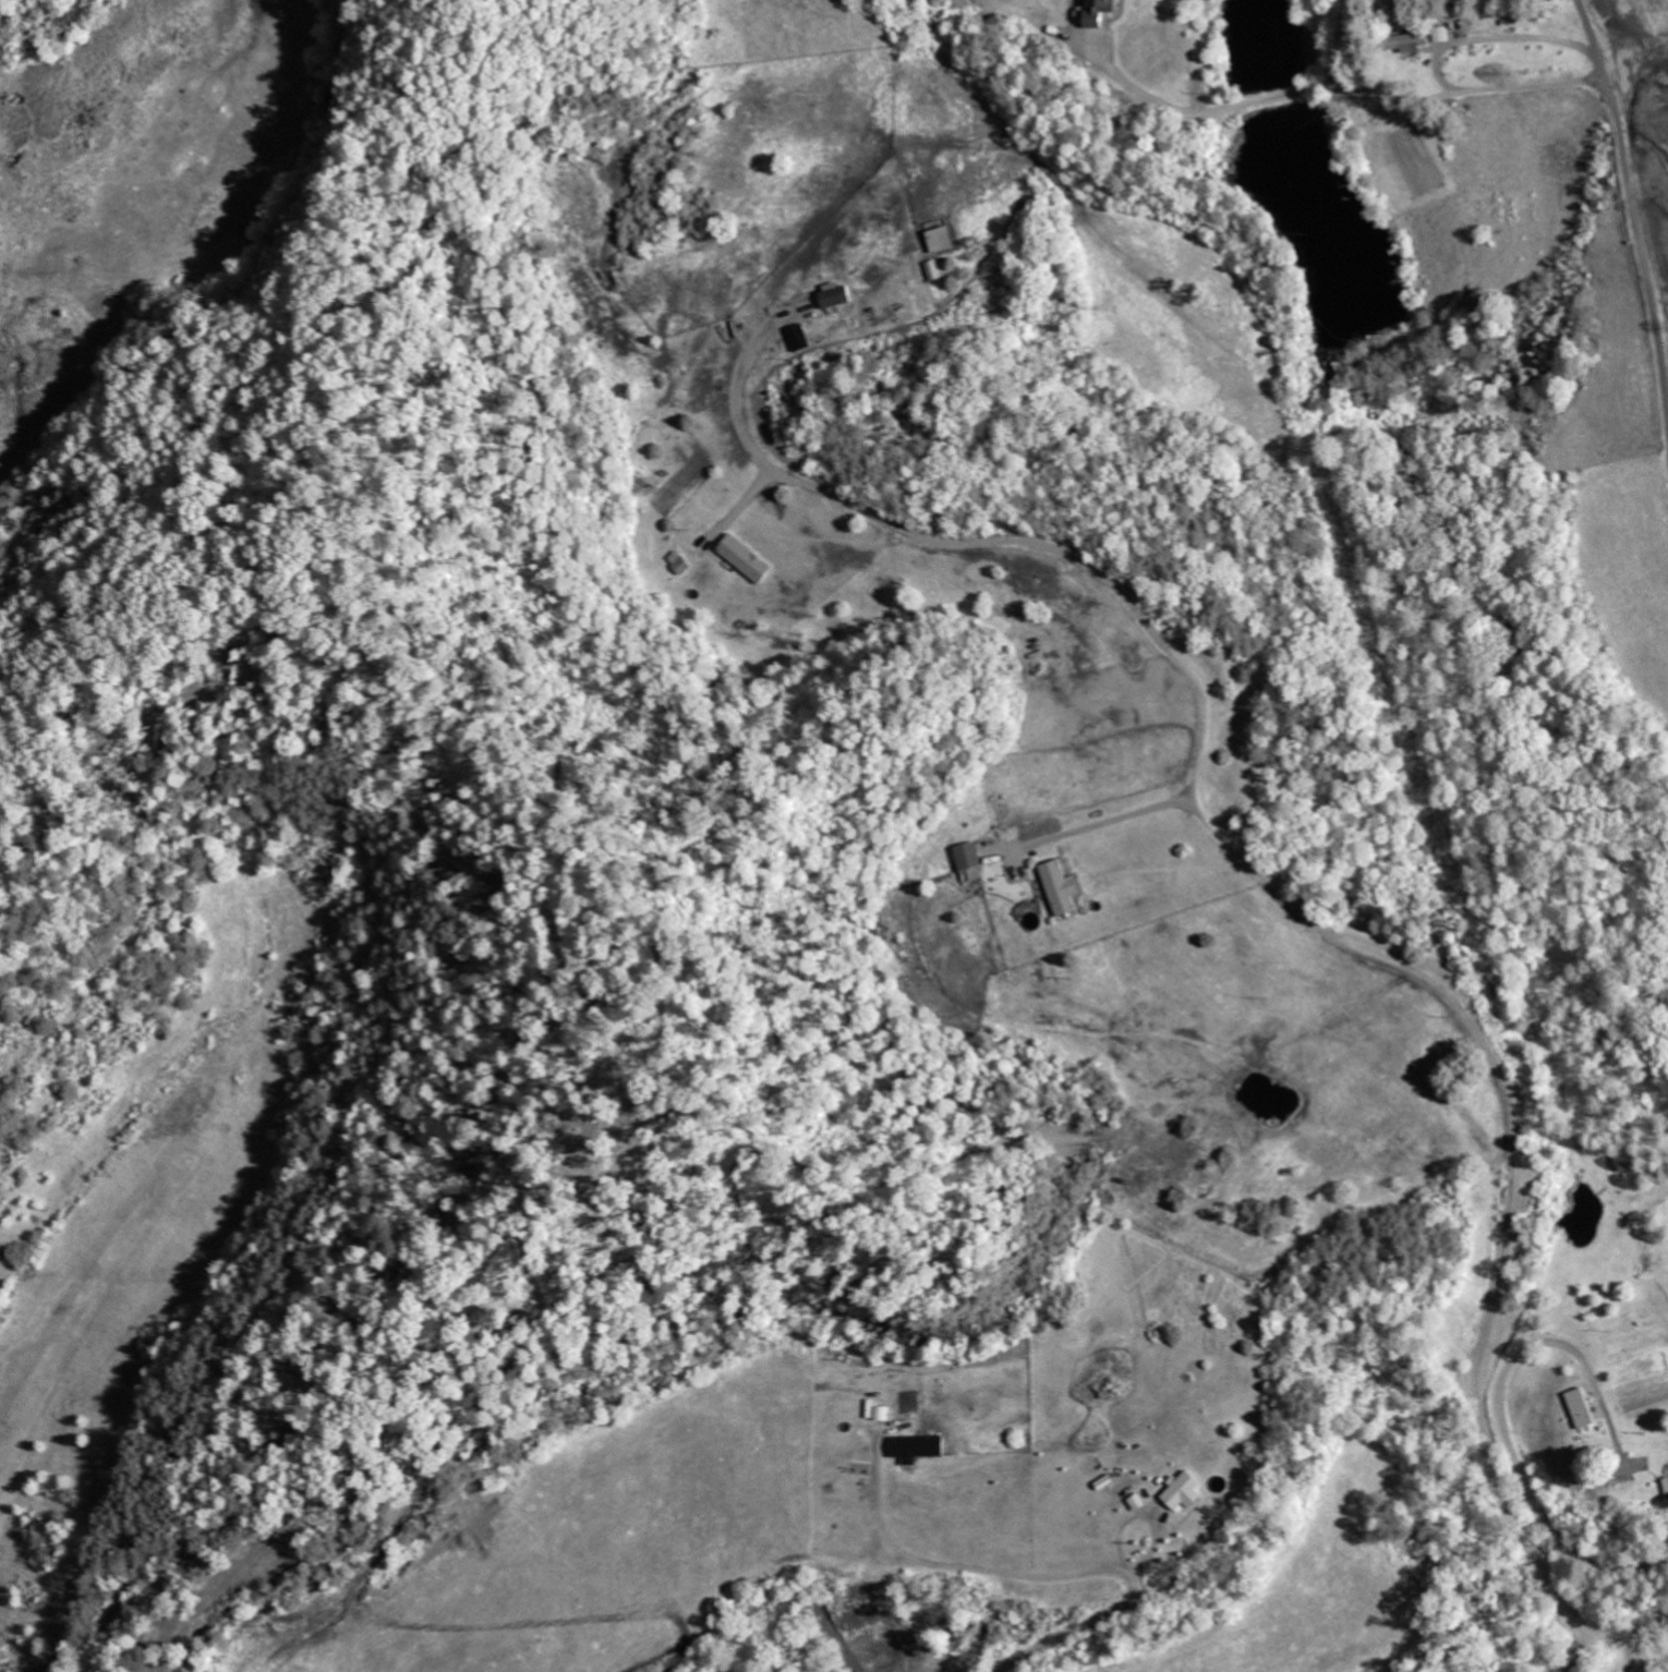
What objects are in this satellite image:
building: (1102, 13)
building: (1414, 43)
road: (1632, 202)
building: (943, 239)
building: (841, 296)
building: (805, 338)
building: (747, 559)
building: (679, 562)
building: (972, 857)
building: (975, 875)
building: (1066, 888)
building: (1585, 1408)
road: (1501, 1413)
building: (921, 1447)
building: (1667, 1480)
building: (1187, 1491)
building: (1143, 1502)
road: (1608, 1646)

